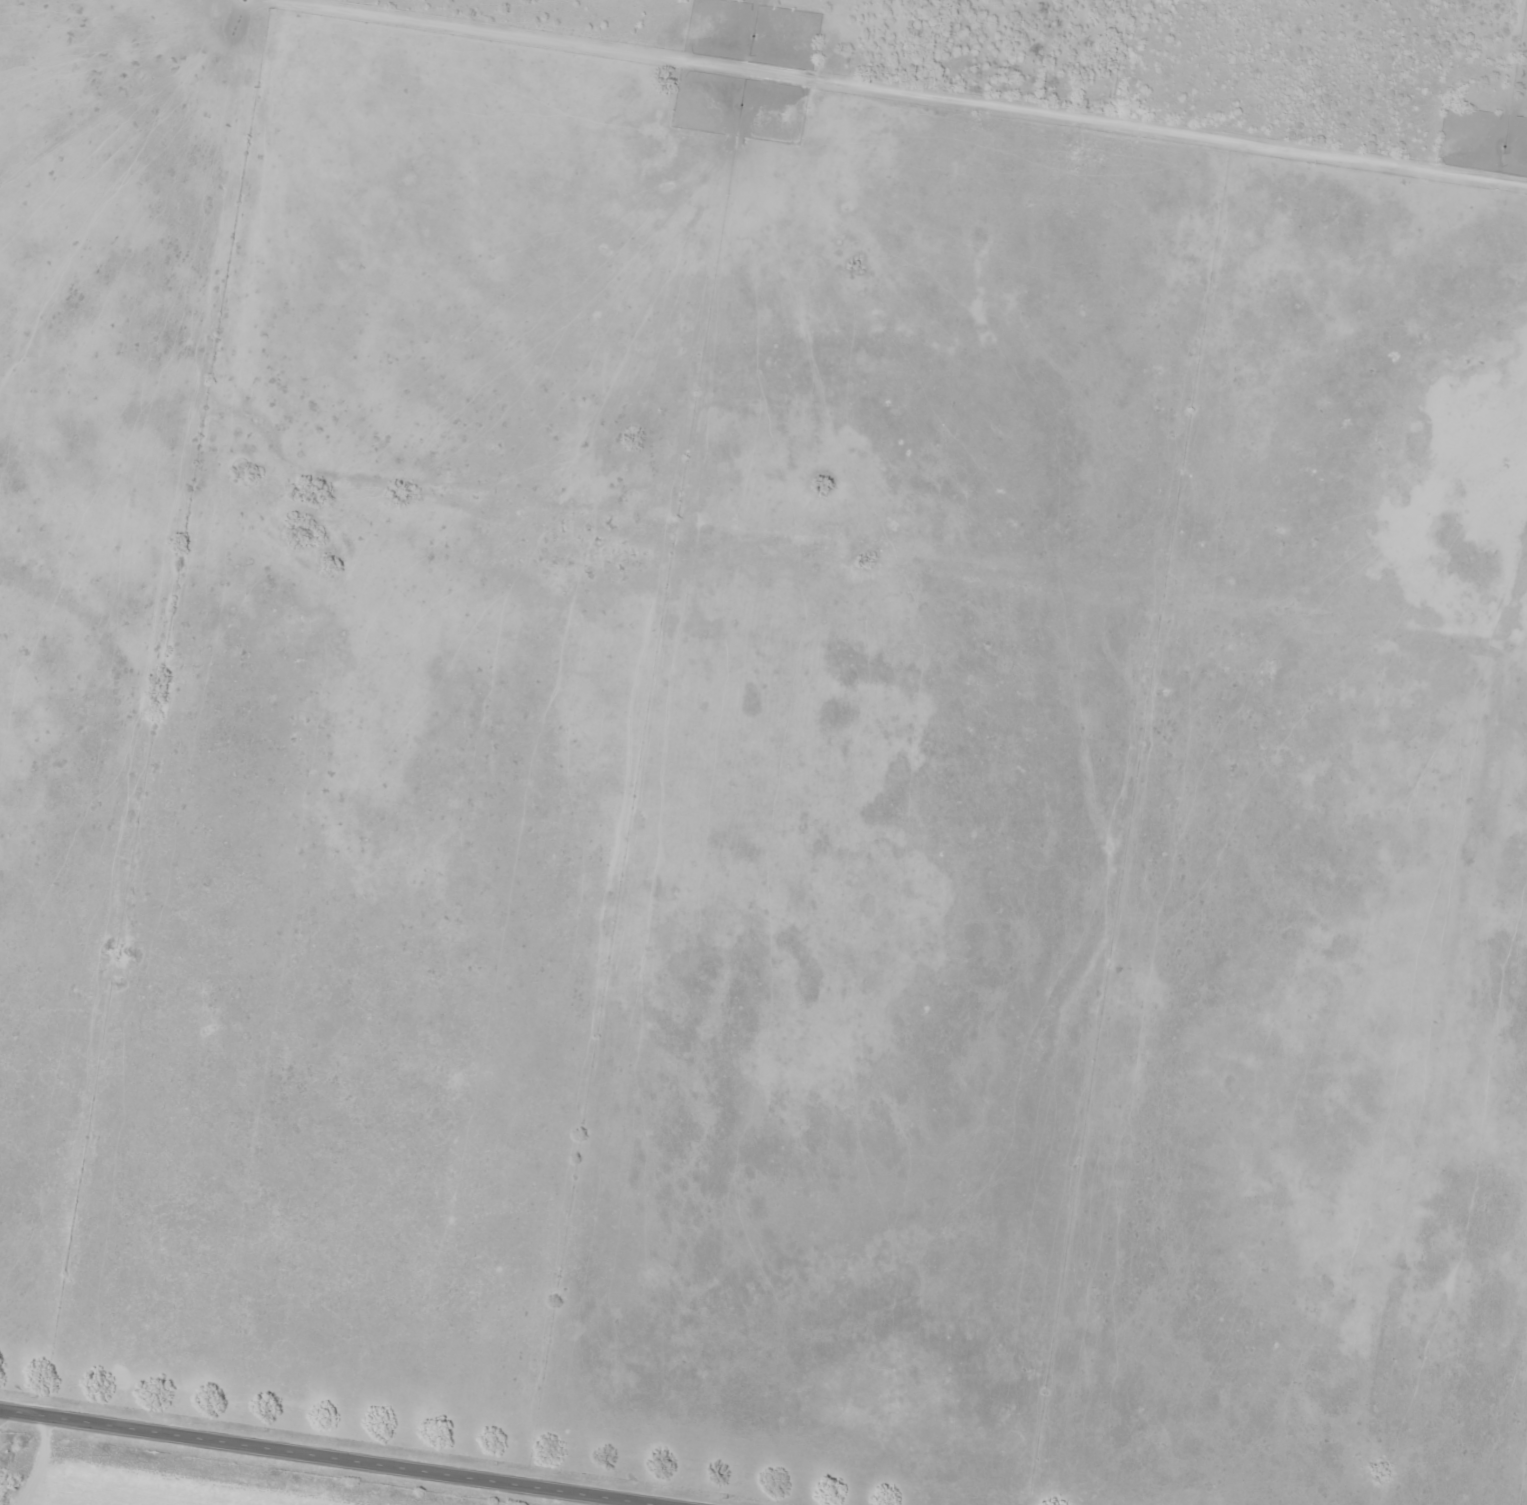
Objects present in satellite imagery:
road: (315, 1459)
road: (40, 1462)

